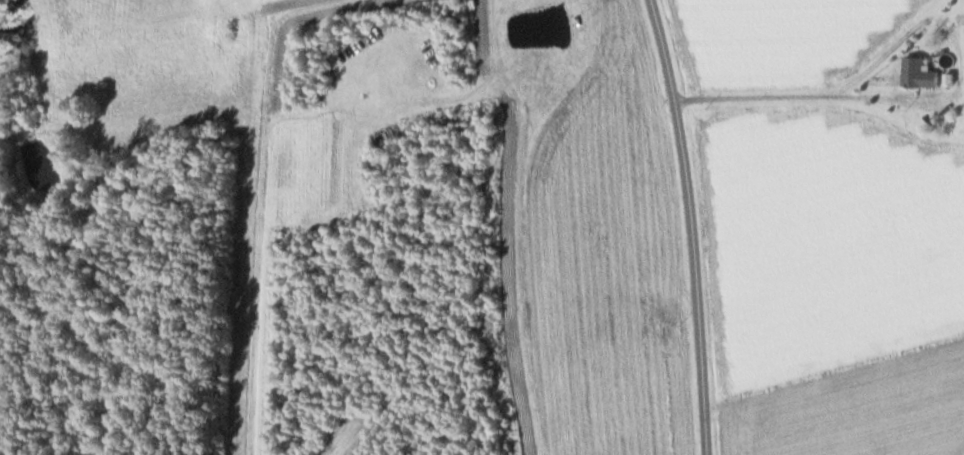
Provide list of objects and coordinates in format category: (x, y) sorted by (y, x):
building: (232, 29)
building: (918, 75)
road: (696, 225)

